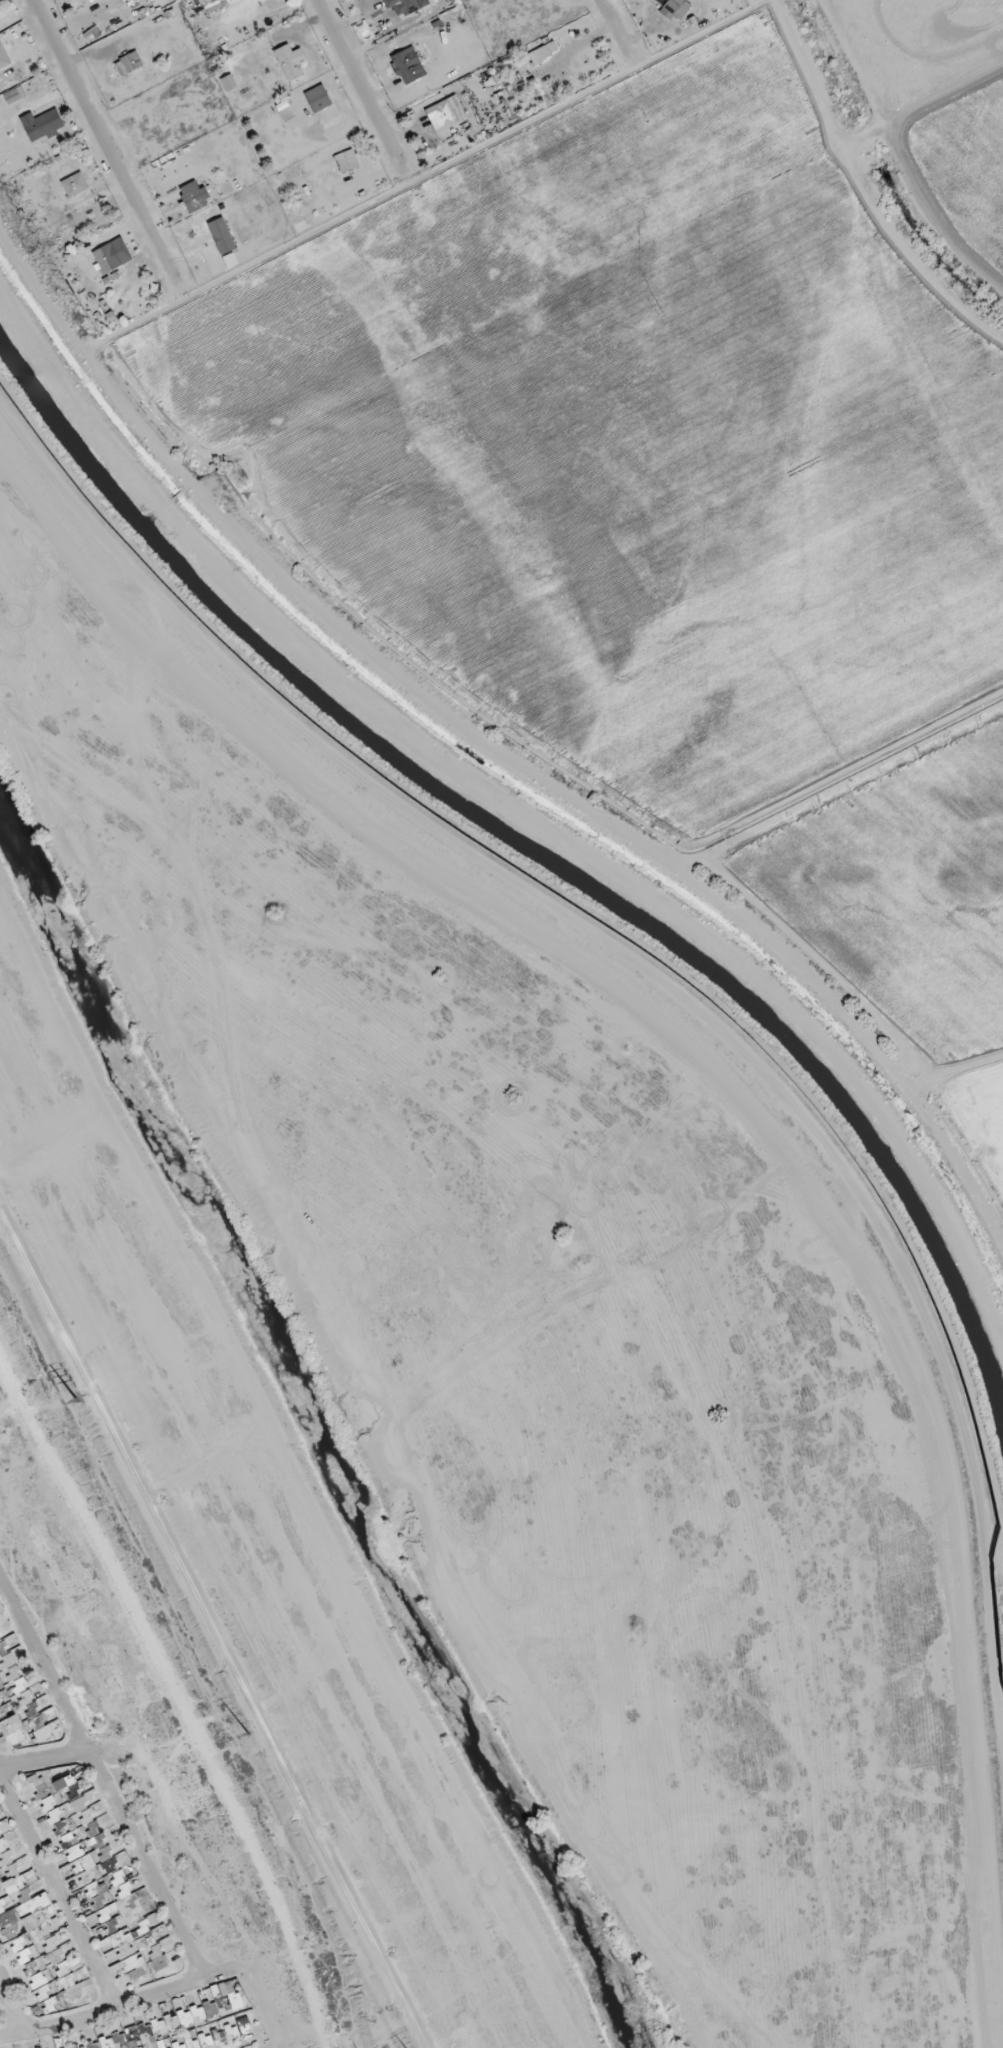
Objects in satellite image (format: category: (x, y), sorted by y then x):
building: (214, 3)
building: (405, 6)
road: (616, 27)
building: (1, 46)
building: (544, 52)
building: (290, 61)
building: (128, 63)
building: (407, 65)
building: (229, 82)
road: (359, 84)
building: (15, 95)
building: (318, 98)
building: (445, 114)
building: (42, 124)
road: (101, 138)
building: (347, 160)
building: (75, 184)
building: (194, 196)
building: (106, 258)
river: (122, 1052)
power tower: (72, 1400)
road: (9, 1404)
river: (441, 1664)
road: (179, 1698)
building: (11, 1723)
power tower: (238, 1736)
road: (43, 1759)
road: (101, 1781)
building: (85, 1867)
road: (60, 1896)
road: (258, 2006)
road: (117, 2010)
road: (11, 2012)
building: (197, 2017)

